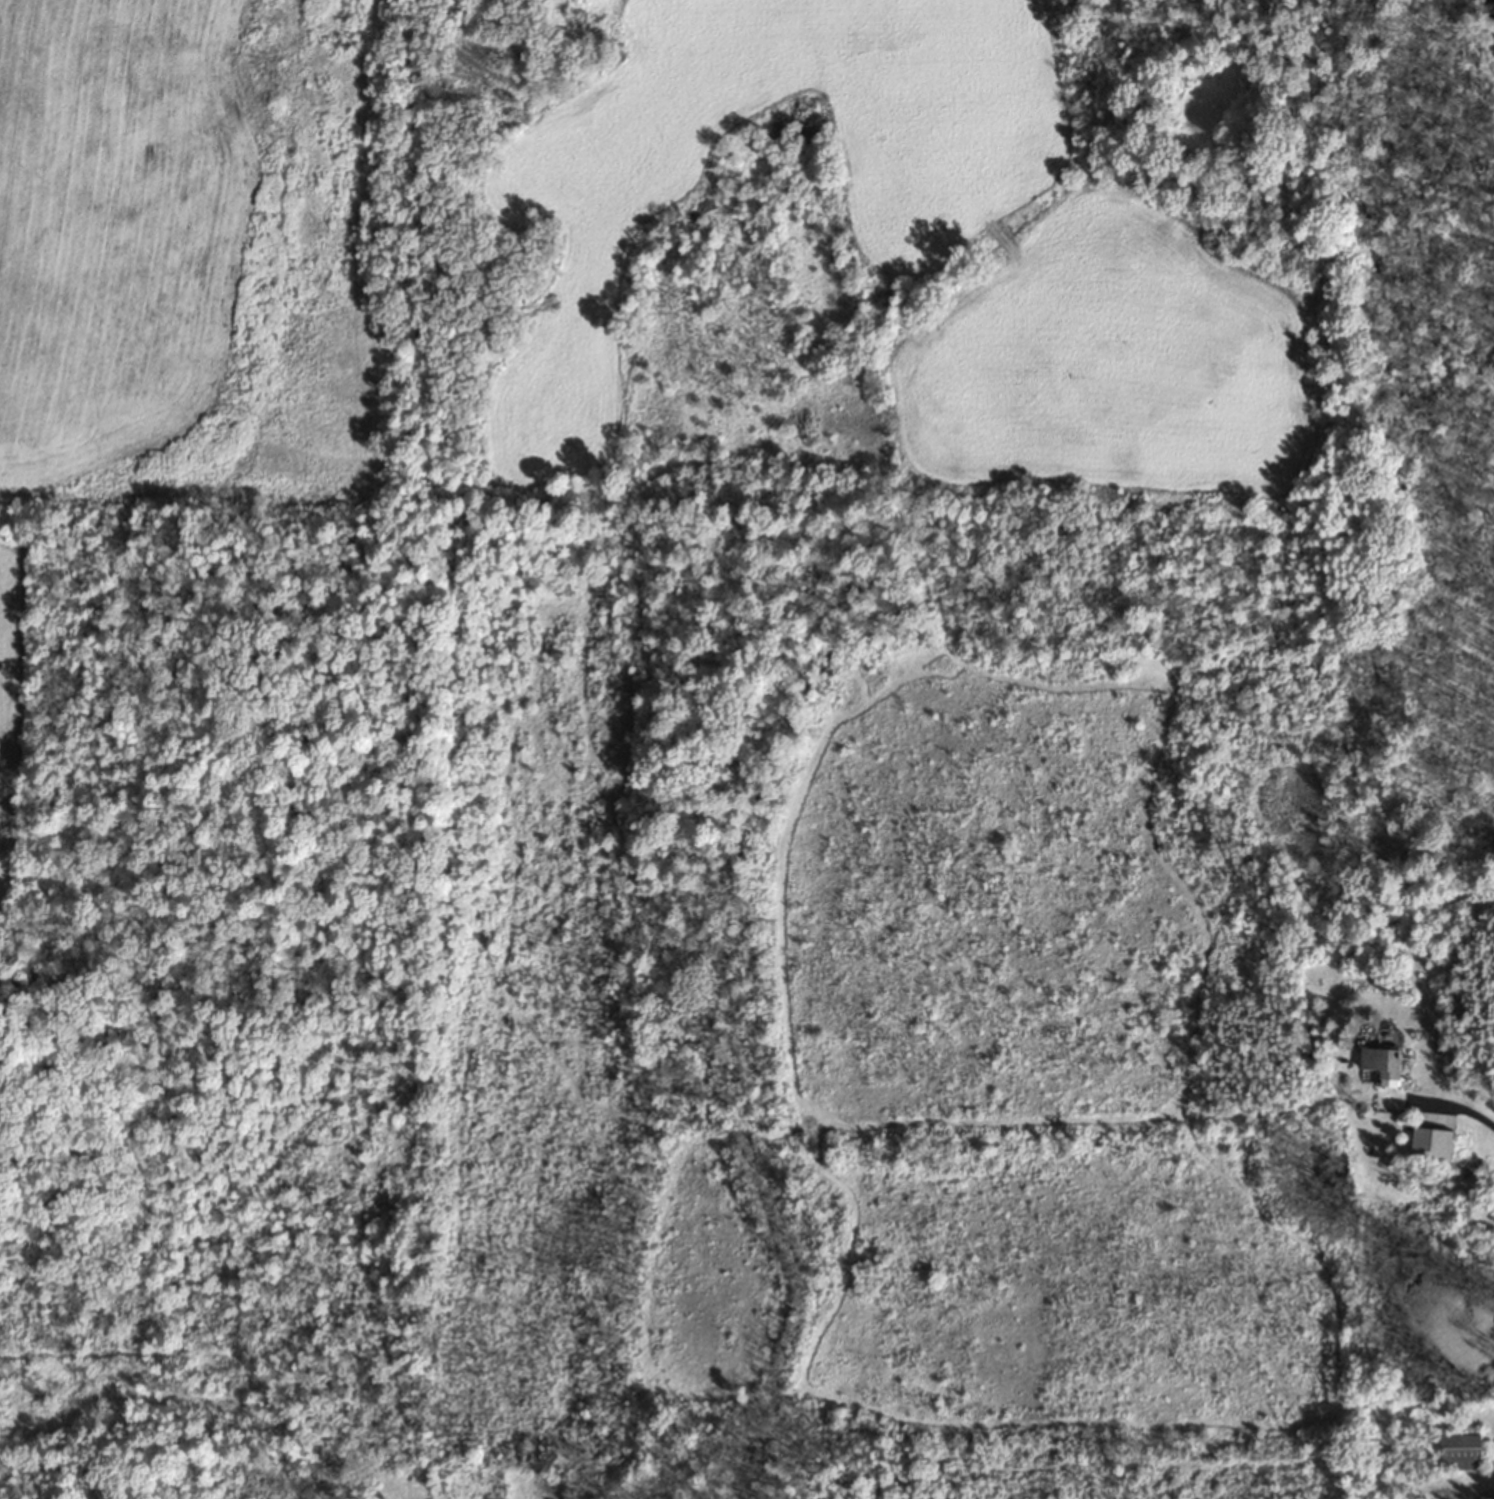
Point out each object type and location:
building: (1386, 1075)
building: (1434, 1143)
building: (1463, 1450)

